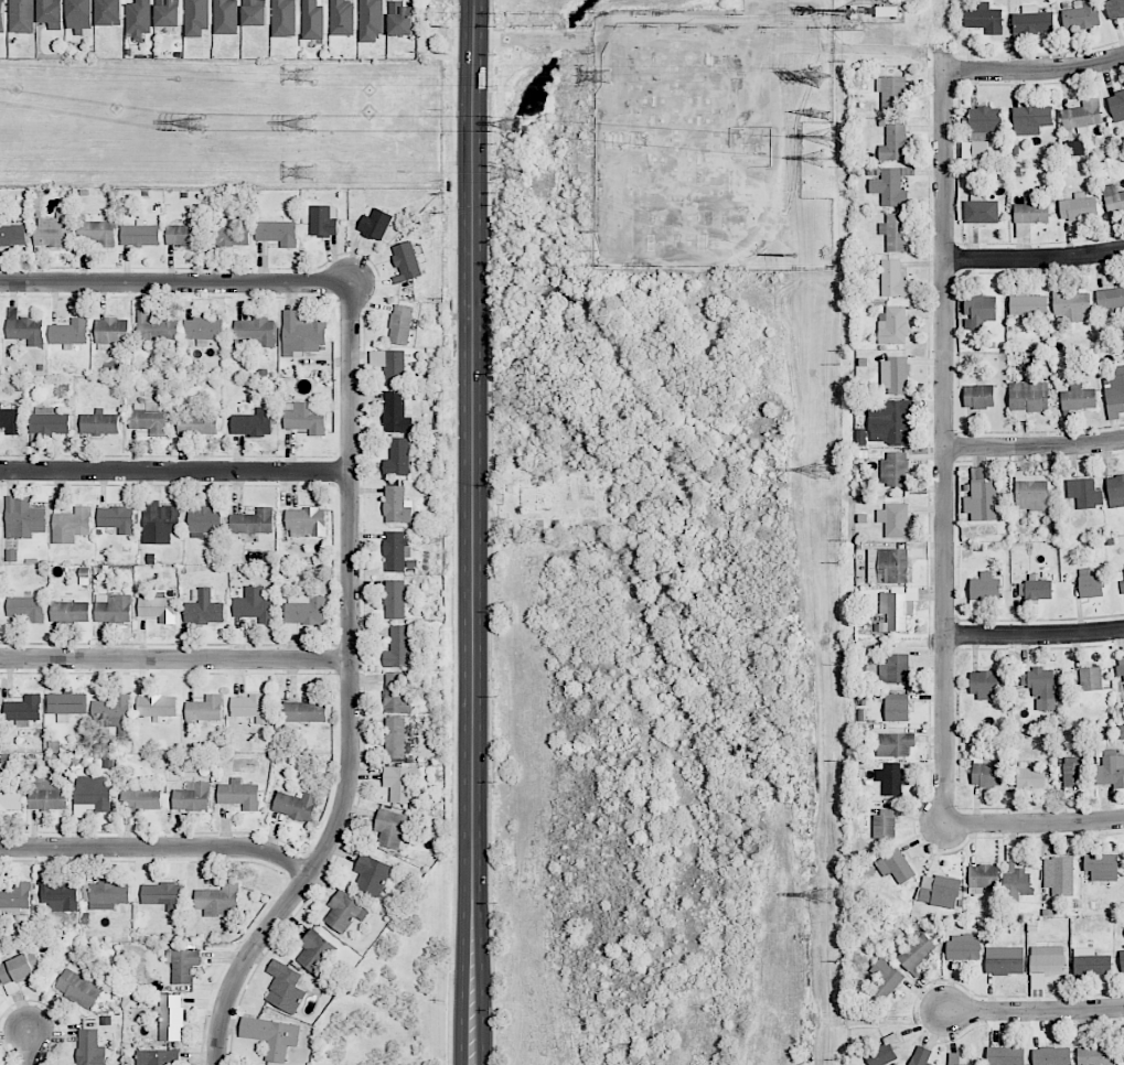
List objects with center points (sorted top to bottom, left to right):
building: (1114, 9)
building: (887, 10)
building: (854, 11)
building: (108, 12)
building: (168, 12)
building: (255, 12)
building: (52, 13)
building: (1081, 14)
building: (79, 15)
building: (2, 17)
building: (22, 17)
building: (226, 17)
building: (138, 18)
building: (195, 18)
building: (283, 18)
building: (342, 18)
building: (399, 19)
building: (984, 19)
building: (312, 20)
building: (371, 20)
building: (1032, 21)
road: (870, 35)
road: (534, 39)
road: (760, 43)
road: (933, 61)
road: (1034, 68)
power tower: (306, 75)
power tower: (603, 75)
power tower: (821, 76)
building: (892, 92)
building: (1116, 106)
power tower: (820, 114)
building: (1082, 115)
building: (1034, 118)
power tower: (194, 123)
power tower: (306, 123)
power tower: (513, 123)
power tower: (832, 136)
building: (893, 143)
building: (1074, 148)
building: (980, 149)
power tower: (821, 158)
power tower: (307, 172)
power tower: (514, 172)
building: (890, 186)
building: (1113, 200)
building: (1078, 206)
building: (981, 211)
building: (1030, 211)
building: (322, 222)
building: (375, 224)
building: (53, 230)
building: (11, 232)
building: (97, 232)
building: (895, 232)
building: (185, 233)
building: (277, 233)
building: (140, 235)
building: (229, 235)
power tower: (795, 256)
road: (1034, 259)
building: (407, 260)
building: (892, 279)
road: (176, 281)
building: (1110, 298)
building: (1028, 304)
building: (1069, 304)
building: (978, 310)
building: (400, 324)
building: (893, 324)
building: (24, 327)
building: (154, 327)
building: (203, 327)
building: (69, 332)
building: (110, 332)
building: (255, 332)
building: (301, 334)
building: (390, 365)
building: (895, 375)
building: (1114, 391)
building: (978, 396)
building: (1028, 397)
building: (1078, 398)
building: (396, 413)
building: (304, 417)
building: (148, 418)
building: (10, 420)
building: (49, 421)
building: (890, 421)
building: (99, 422)
building: (196, 422)
building: (253, 422)
road: (943, 447)
road: (1034, 449)
building: (397, 458)
building: (895, 469)
road: (175, 472)
power tower: (823, 474)
building: (1115, 491)
building: (1032, 492)
building: (1084, 493)
building: (982, 501)
building: (397, 505)
building: (23, 518)
building: (116, 518)
building: (893, 519)
building: (204, 521)
building: (253, 521)
building: (306, 521)
building: (159, 523)
building: (71, 525)
road: (471, 531)
building: (395, 551)
building: (888, 566)
building: (1089, 583)
building: (984, 587)
building: (1038, 588)
building: (396, 599)
building: (255, 605)
building: (26, 607)
building: (203, 607)
building: (113, 609)
building: (158, 609)
building: (897, 609)
building: (306, 610)
building: (69, 611)
road: (1035, 635)
building: (398, 647)
road: (174, 660)
building: (1121, 666)
building: (895, 669)
building: (1090, 678)
building: (984, 684)
building: (1041, 688)
road: (350, 690)
building: (397, 692)
building: (66, 703)
building: (157, 706)
building: (897, 707)
building: (253, 708)
building: (23, 710)
building: (204, 710)
building: (306, 710)
building: (114, 711)
building: (395, 738)
building: (895, 744)
building: (1111, 770)
building: (1073, 772)
building: (986, 773)
building: (1030, 777)
building: (891, 778)
building: (400, 782)
building: (239, 794)
building: (46, 795)
building: (90, 795)
building: (192, 797)
building: (11, 799)
building: (140, 799)
building: (296, 805)
road: (1035, 822)
building: (884, 824)
building: (390, 828)
road: (158, 846)
building: (896, 865)
building: (1102, 867)
building: (372, 874)
building: (1059, 875)
building: (982, 878)
building: (939, 891)
building: (57, 893)
building: (14, 894)
building: (105, 894)
building: (163, 895)
power tower: (825, 897)
building: (218, 900)
building: (345, 912)
building: (963, 946)
building: (315, 951)
building: (917, 953)
building: (1122, 959)
building: (1047, 960)
building: (183, 964)
building: (1004, 964)
building: (1091, 964)
building: (14, 972)
building: (885, 979)
building: (78, 986)
building: (285, 987)
building: (1, 999)
road: (1034, 1010)
building: (170, 1018)
building: (271, 1035)
building: (89, 1048)
road: (30, 1051)
building: (1003, 1051)
building: (1123, 1051)
building: (884, 1052)
building: (920, 1055)
building: (1095, 1055)
building: (1051, 1056)
building: (157, 1057)

